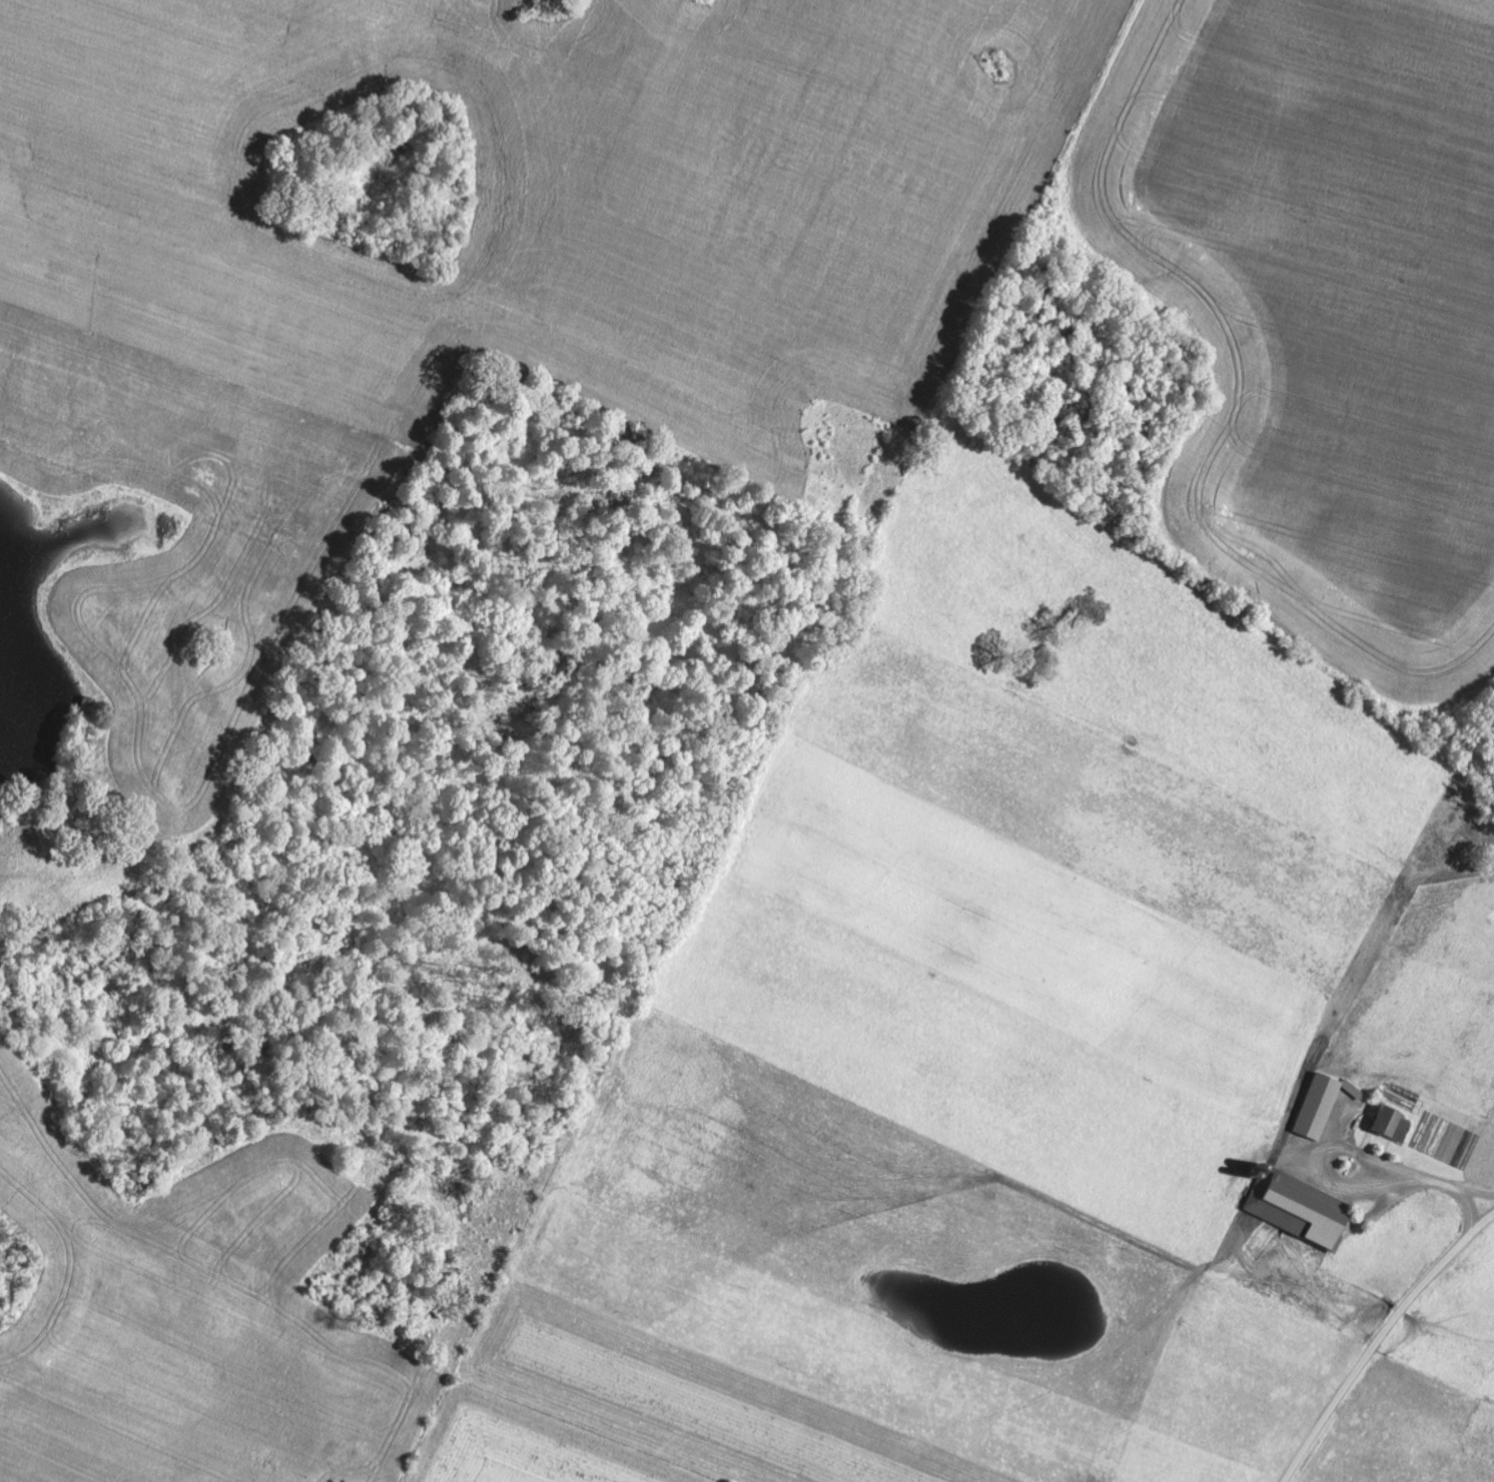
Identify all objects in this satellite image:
building: (1312, 1108)
building: (1385, 1126)
building: (1293, 1209)

